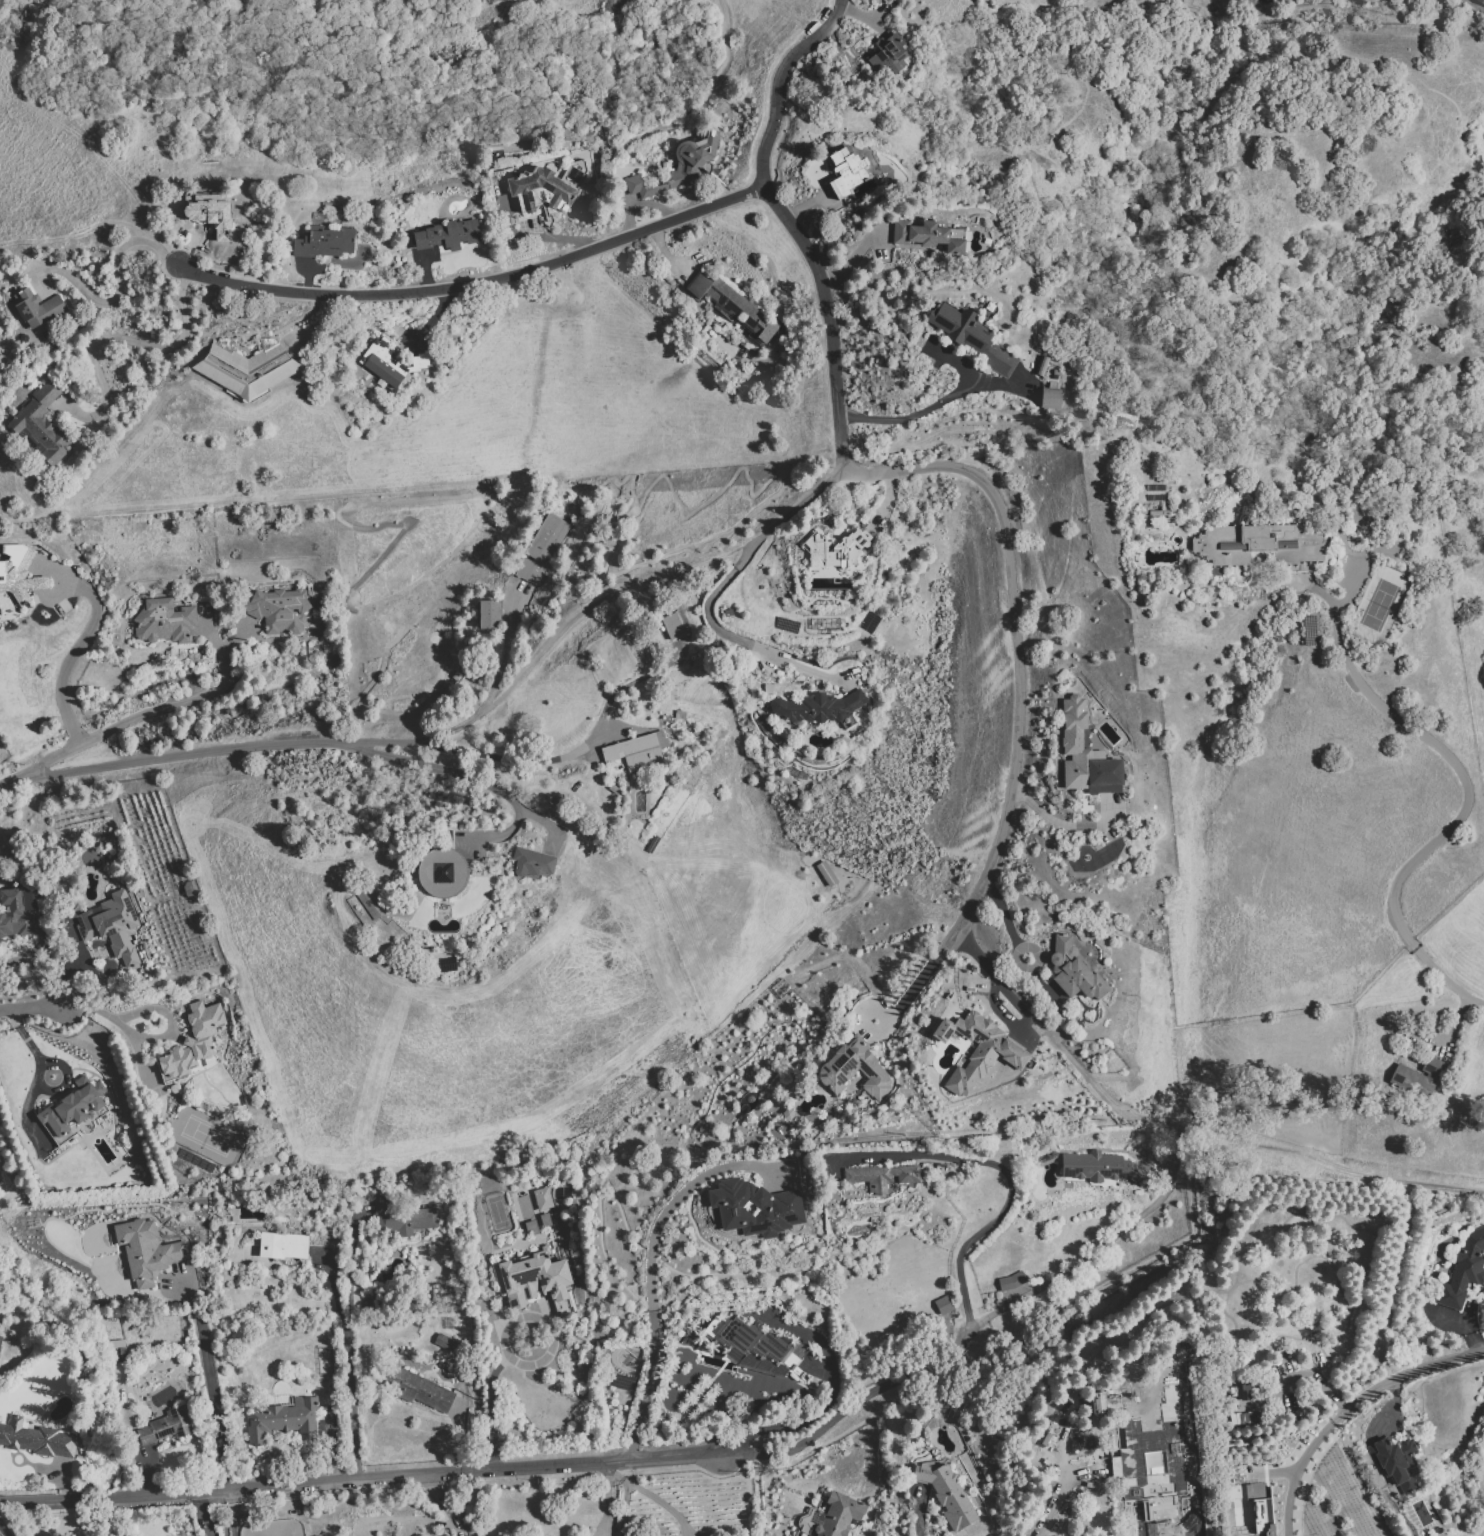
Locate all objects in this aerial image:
building: (1480, 1)
road: (860, 14)
building: (886, 53)
road: (657, 125)
building: (679, 165)
building: (844, 171)
building: (545, 186)
road: (806, 204)
building: (208, 212)
road: (629, 218)
road: (789, 223)
building: (447, 234)
building: (923, 235)
road: (557, 238)
building: (323, 240)
road: (665, 255)
road: (854, 257)
road: (424, 273)
road: (306, 278)
road: (479, 283)
road: (120, 284)
building: (37, 307)
building: (734, 307)
road: (433, 313)
road: (317, 324)
road: (120, 337)
building: (974, 337)
building: (391, 361)
building: (245, 364)
building: (1043, 366)
building: (1051, 398)
road: (914, 415)
building: (40, 424)
road: (744, 475)
building: (1155, 487)
road: (887, 498)
building: (1157, 498)
road: (796, 508)
building: (1160, 518)
building: (1360, 518)
building: (1259, 544)
building: (835, 548)
building: (540, 549)
building: (18, 572)
road: (607, 595)
park: (1383, 598)
building: (276, 609)
building: (487, 614)
building: (162, 622)
building: (671, 625)
road: (736, 637)
road: (505, 647)
road: (1016, 648)
road: (71, 652)
building: (818, 708)
road: (142, 715)
road: (257, 747)
building: (635, 749)
building: (1086, 754)
road: (532, 758)
road: (470, 775)
road: (1467, 802)
road: (1066, 825)
building: (530, 861)
building: (441, 871)
building: (825, 872)
building: (187, 889)
building: (18, 909)
road: (1002, 913)
building: (111, 926)
road: (35, 949)
building: (1074, 971)
road: (911, 990)
road: (36, 1005)
road: (1459, 1014)
road: (24, 1037)
road: (154, 1037)
building: (193, 1039)
building: (976, 1049)
building: (852, 1069)
road: (65, 1074)
building: (1418, 1076)
building: (72, 1106)
road: (26, 1116)
road: (1184, 1123)
park: (206, 1134)
building: (1103, 1168)
building: (880, 1175)
road: (1010, 1185)
building: (542, 1198)
building: (753, 1207)
park: (496, 1211)
building: (401, 1218)
building: (544, 1220)
building: (530, 1227)
building: (281, 1245)
building: (144, 1251)
building: (1464, 1271)
building: (533, 1281)
building: (1010, 1281)
road: (650, 1287)
building: (943, 1304)
road: (520, 1316)
road: (1465, 1326)
building: (0, 1337)
building: (444, 1342)
road: (991, 1348)
building: (758, 1349)
road: (349, 1362)
road: (1404, 1374)
building: (622, 1382)
building: (416, 1388)
road: (212, 1396)
road: (828, 1399)
road: (1390, 1406)
road: (492, 1410)
building: (281, 1420)
building: (163, 1426)
building: (1167, 1433)
building: (38, 1439)
building: (1397, 1461)
road: (614, 1462)
building: (1153, 1462)
road: (616, 1471)
road: (1294, 1472)
road: (1065, 1486)
building: (944, 1493)
road: (607, 1499)
road: (659, 1502)
road: (440, 1505)
road: (623, 1507)
road: (203, 1513)
road: (919, 1513)
building: (1261, 1513)
building: (838, 1514)
building: (1316, 1527)
road: (2, 1532)
building: (808, 1535)

